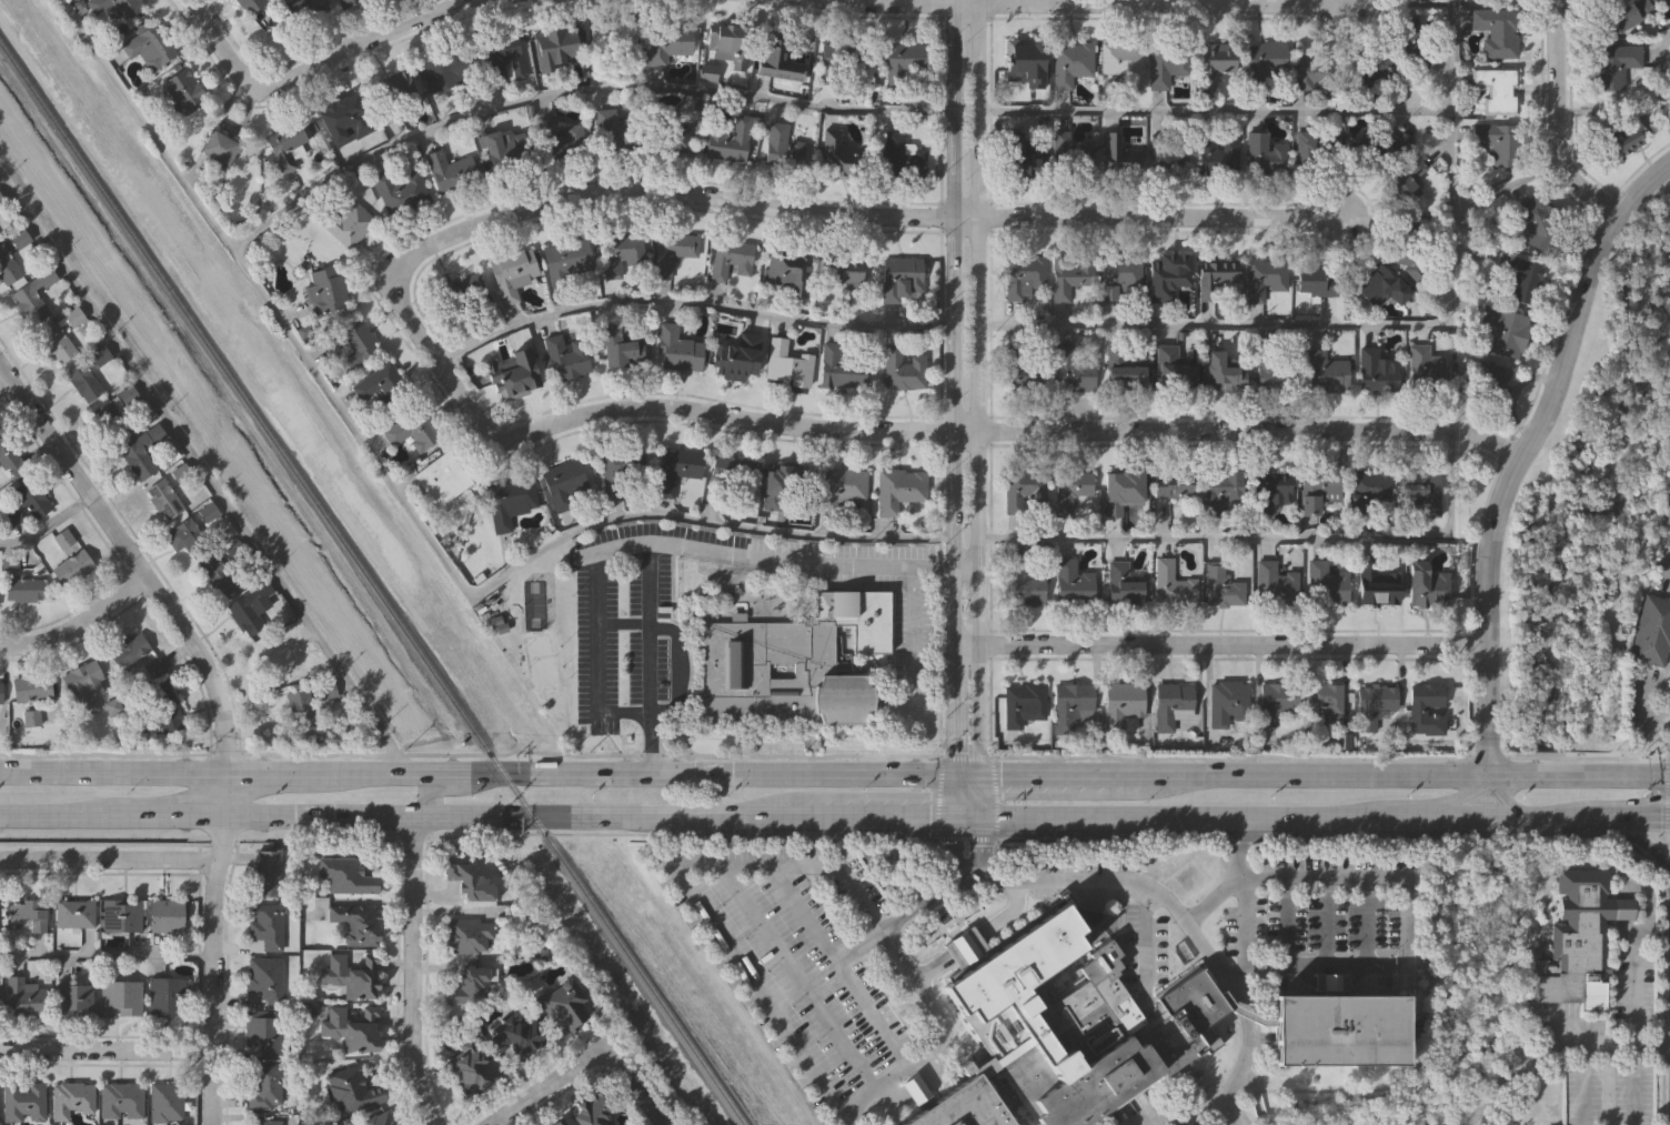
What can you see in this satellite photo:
building: (343, 2)
road: (952, 2)
road: (979, 2)
building: (1664, 3)
building: (248, 4)
road: (1087, 4)
building: (114, 7)
building: (302, 10)
building: (1627, 13)
building: (1496, 31)
building: (1398, 34)
building: (666, 40)
building: (607, 42)
building: (722, 43)
building: (149, 46)
building: (554, 46)
building: (502, 54)
building: (777, 56)
building: (902, 61)
building: (1216, 61)
building: (1264, 61)
road: (303, 62)
building: (1020, 62)
building: (1068, 62)
building: (832, 63)
building: (1123, 63)
building: (1167, 64)
building: (1612, 64)
building: (1375, 67)
building: (445, 68)
building: (1311, 70)
road: (1664, 74)
building: (390, 88)
building: (1496, 89)
building: (183, 90)
road: (574, 96)
road: (1215, 114)
building: (338, 118)
road: (1555, 119)
building: (615, 131)
building: (668, 134)
building: (1621, 134)
building: (559, 139)
building: (726, 140)
building: (1498, 142)
building: (782, 148)
building: (215, 149)
building: (894, 150)
building: (1316, 150)
building: (284, 151)
building: (504, 152)
building: (1215, 153)
building: (833, 154)
building: (1116, 154)
building: (1262, 155)
building: (1168, 157)
building: (1023, 158)
building: (1072, 158)
building: (450, 170)
building: (1405, 180)
building: (399, 189)
road: (666, 195)
building: (1, 200)
road: (1450, 214)
road: (1151, 218)
building: (1538, 220)
building: (345, 222)
building: (19, 239)
building: (621, 252)
building: (680, 254)
building: (728, 258)
building: (566, 260)
building: (1408, 263)
building: (7, 267)
building: (787, 271)
building: (843, 271)
building: (511, 273)
building: (1117, 275)
building: (1214, 275)
building: (1163, 277)
building: (1262, 277)
building: (1520, 277)
building: (901, 278)
building: (1024, 278)
building: (1315, 279)
road: (955, 285)
building: (1378, 285)
building: (325, 290)
building: (1070, 291)
building: (32, 295)
building: (465, 298)
road: (690, 310)
building: (73, 319)
road: (1215, 324)
building: (1505, 330)
building: (56, 342)
building: (356, 343)
building: (621, 348)
building: (676, 349)
building: (735, 354)
building: (100, 355)
building: (565, 356)
building: (1175, 363)
building: (1277, 363)
building: (785, 364)
building: (841, 365)
building: (1025, 365)
building: (1427, 366)
building: (902, 368)
building: (1072, 370)
building: (1121, 370)
building: (1221, 370)
building: (1325, 372)
building: (1376, 372)
building: (512, 374)
building: (1483, 379)
building: (82, 381)
building: (382, 385)
road: (979, 410)
building: (120, 422)
building: (413, 429)
road: (906, 432)
building: (141, 451)
road: (1525, 451)
building: (10, 459)
building: (675, 468)
building: (735, 468)
building: (622, 469)
road: (210, 472)
building: (441, 479)
building: (562, 483)
building: (1368, 484)
building: (784, 486)
building: (839, 486)
building: (1170, 488)
building: (898, 489)
building: (1316, 489)
building: (1024, 490)
building: (1118, 491)
building: (1219, 491)
building: (1268, 491)
building: (1419, 491)
building: (1074, 494)
building: (31, 496)
building: (163, 499)
building: (509, 501)
road: (408, 506)
park: (1589, 509)
building: (208, 512)
building: (11, 516)
road: (47, 528)
building: (185, 536)
building: (63, 538)
building: (1668, 538)
road: (1268, 541)
road: (801, 561)
road: (134, 564)
building: (72, 567)
road: (965, 567)
road: (1663, 572)
building: (218, 576)
building: (1072, 582)
building: (1020, 583)
building: (1170, 583)
building: (1121, 584)
building: (1272, 584)
building: (1425, 584)
building: (1220, 585)
building: (1325, 585)
railway: (372, 586)
building: (1377, 587)
building: (23, 590)
building: (249, 606)
road: (76, 621)
road: (623, 624)
road: (674, 629)
building: (1652, 629)
road: (597, 631)
parking lot: (627, 634)
road: (908, 642)
road: (1218, 644)
building: (128, 651)
building: (278, 654)
building: (791, 660)
road: (650, 667)
building: (81, 685)
building: (31, 687)
building: (330, 689)
building: (0, 691)
road: (952, 692)
road: (1644, 700)
building: (1274, 702)
building: (1423, 702)
building: (1022, 703)
building: (1228, 703)
building: (1372, 703)
building: (1121, 704)
building: (1170, 704)
building: (1322, 705)
building: (300, 707)
building: (1072, 707)
building: (165, 712)
building: (141, 731)
road: (648, 742)
road: (855, 772)
traffic signals: (952, 773)
traffic signals: (977, 773)
road: (1498, 773)
road: (1556, 774)
road: (111, 776)
road: (1637, 776)
road: (449, 788)
road: (1456, 795)
road: (1503, 795)
road: (223, 796)
road: (871, 816)
traffic signals: (953, 816)
traffic signals: (979, 816)
road: (1637, 817)
traffic signals: (1662, 817)
road: (1561, 818)
road: (112, 820)
road: (1644, 843)
road: (107, 861)
building: (266, 871)
building: (346, 876)
road: (1332, 880)
building: (471, 882)
road: (997, 882)
road: (1056, 885)
road: (956, 888)
building: (29, 913)
building: (74, 913)
building: (121, 913)
building: (168, 913)
road: (808, 913)
road: (1193, 921)
building: (358, 922)
building: (265, 923)
road: (1245, 924)
road: (883, 926)
building: (467, 932)
road: (209, 933)
building: (1580, 940)
building: (966, 944)
road: (863, 946)
road: (104, 955)
road: (1326, 966)
road: (797, 971)
road: (412, 973)
building: (352, 974)
building: (265, 976)
building: (469, 987)
building: (167, 993)
building: (121, 996)
building: (24, 997)
building: (73, 997)
building: (562, 1005)
road: (1251, 1008)
road: (877, 1013)
building: (352, 1027)
building: (1339, 1028)
building: (263, 1029)
building: (520, 1034)
building: (1066, 1035)
road: (795, 1041)
road: (103, 1051)
building: (471, 1065)
road: (1516, 1068)
building: (263, 1083)
road: (540, 1084)
road: (630, 1085)
building: (917, 1086)
road: (208, 1087)
building: (351, 1091)
building: (72, 1098)
building: (121, 1099)
building: (23, 1101)
building: (167, 1101)
building: (596, 1109)
road: (1198, 1113)
road: (1226, 1113)
road: (846, 1114)
building: (378, 1119)
building: (264, 1122)
building: (559, 1122)

